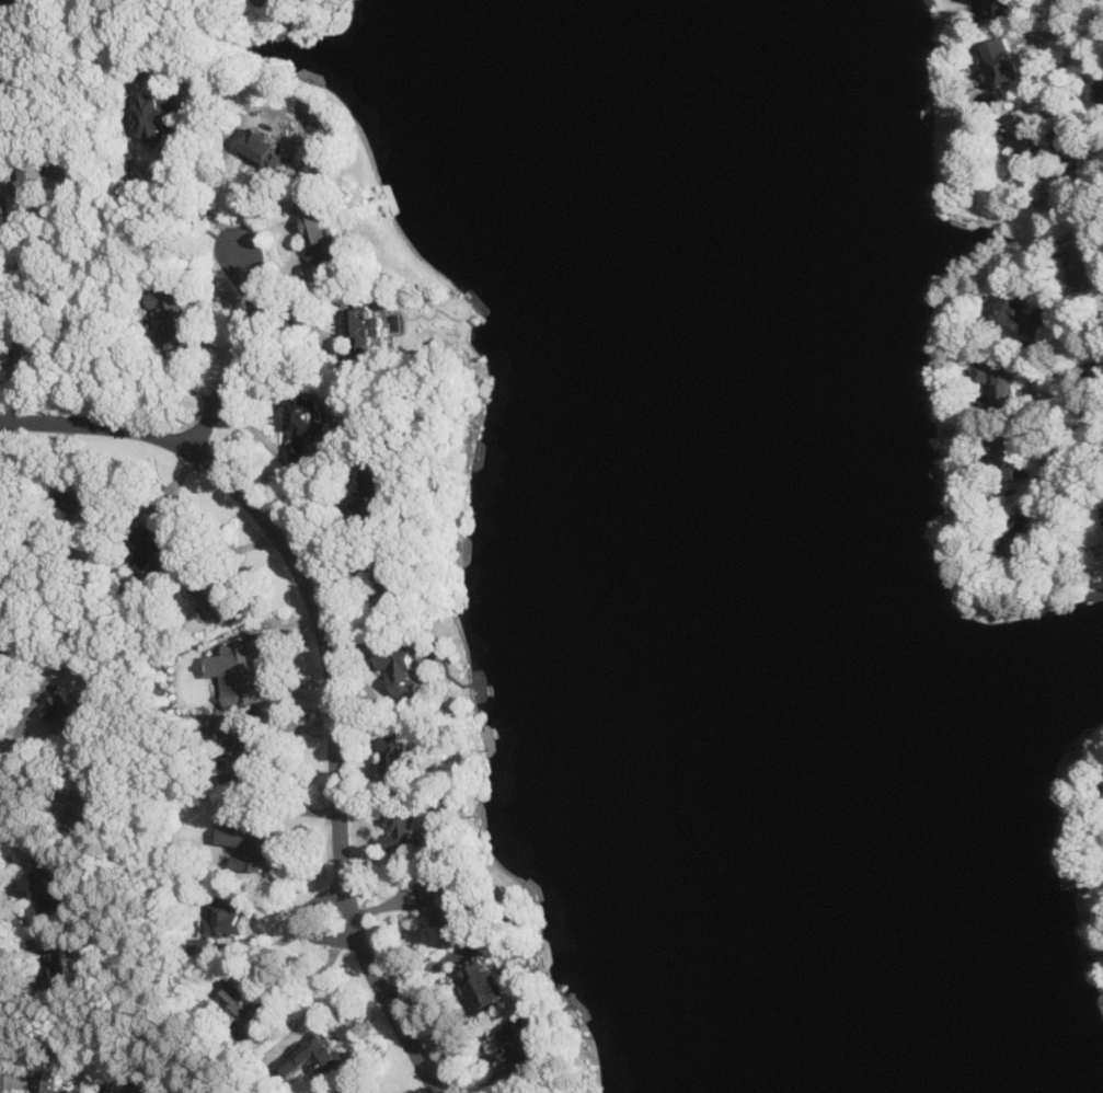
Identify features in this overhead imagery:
building: (1, 0)
building: (1003, 8)
road: (1075, 30)
building: (1001, 61)
building: (8, 66)
building: (1098, 87)
road: (103, 104)
building: (157, 116)
building: (1037, 138)
building: (266, 147)
road: (230, 169)
building: (31, 184)
road: (189, 197)
road: (131, 200)
building: (324, 232)
building: (1089, 258)
building: (34, 263)
road: (110, 309)
building: (174, 312)
building: (1020, 317)
building: (363, 330)
road: (1079, 331)
road: (248, 346)
building: (25, 349)
building: (1000, 378)
building: (307, 423)
building: (1015, 453)
road: (1073, 463)
building: (8, 492)
building: (371, 493)
building: (87, 503)
building: (1024, 538)
building: (158, 545)
road: (7, 579)
building: (384, 580)
building: (218, 596)
building: (9, 635)
road: (329, 658)
building: (402, 666)
building: (245, 669)
building: (68, 712)
building: (228, 728)
building: (249, 757)
building: (398, 758)
road: (3, 774)
road: (157, 797)
building: (84, 801)
building: (405, 822)
building: (250, 843)
building: (48, 883)
building: (445, 902)
building: (221, 920)
road: (305, 921)
road: (432, 965)
building: (60, 968)
building: (483, 981)
road: (319, 994)
building: (249, 1005)
road: (87, 1022)
building: (524, 1042)
building: (313, 1055)
building: (53, 1084)
building: (356, 1088)
building: (120, 1090)
building: (141, 1091)

